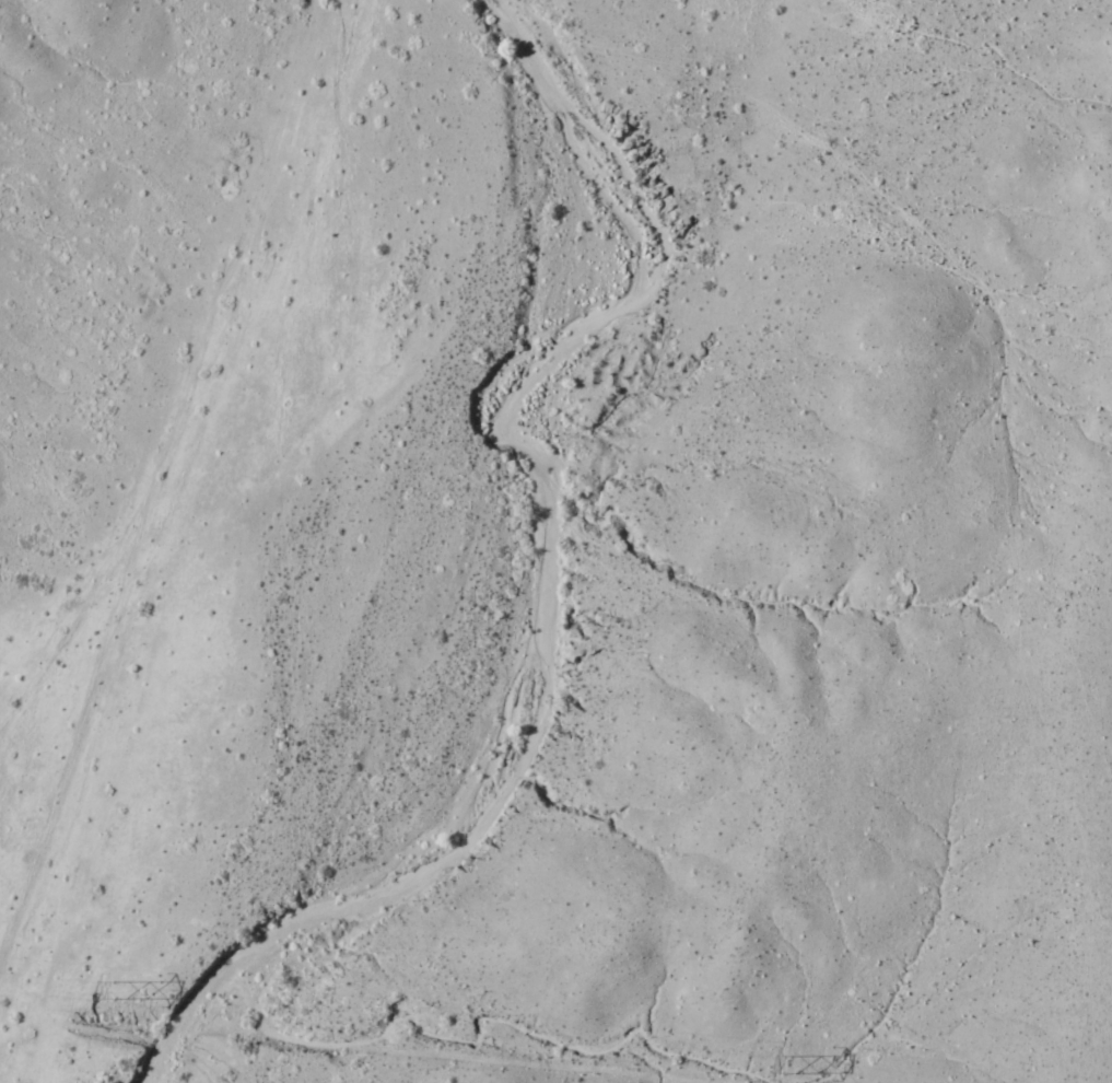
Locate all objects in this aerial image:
power tower: (114, 986)
power tower: (789, 1062)

